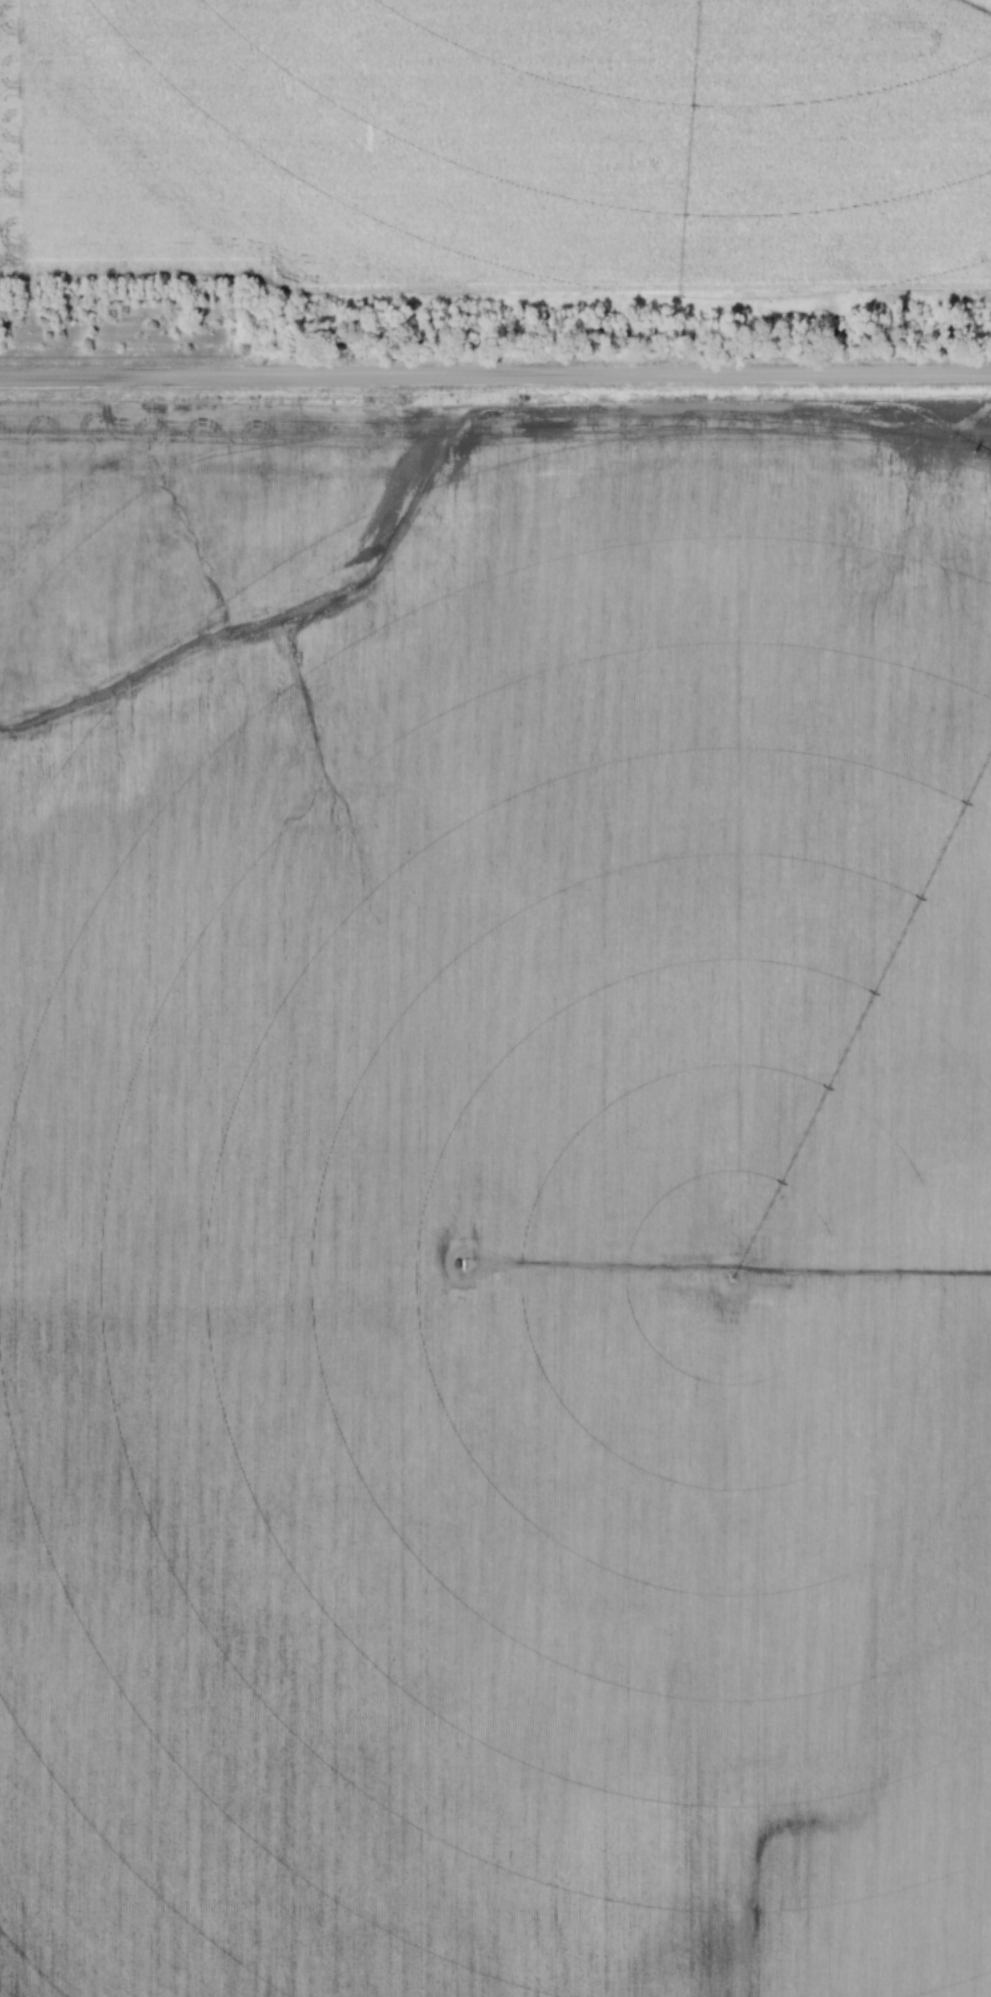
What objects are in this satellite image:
road: (495, 384)

